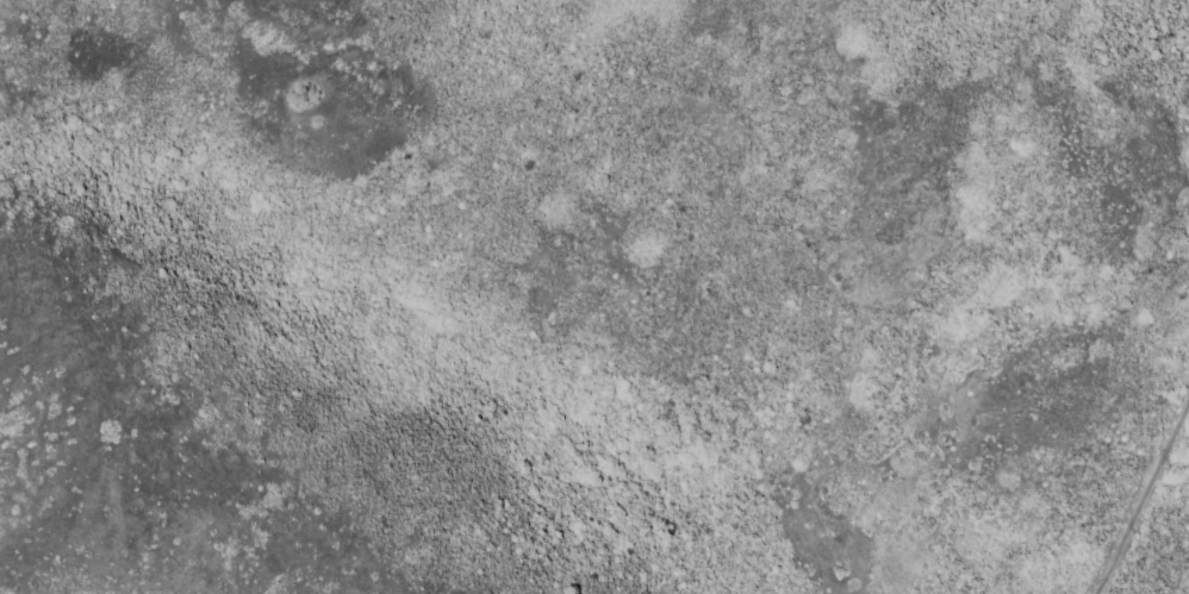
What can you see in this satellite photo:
road: (1144, 499)

